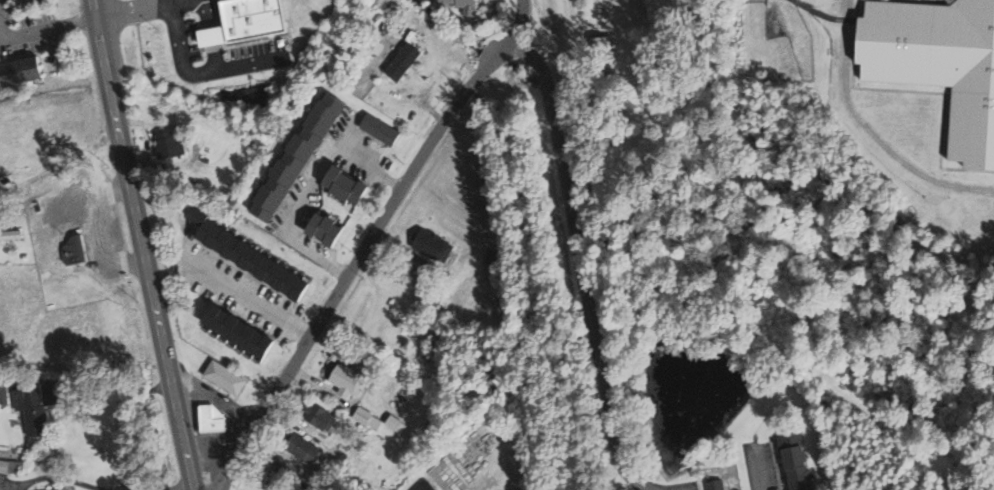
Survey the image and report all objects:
road: (158, 2)
building: (465, 6)
road: (123, 10)
road: (208, 13)
building: (256, 18)
road: (35, 33)
road: (213, 35)
building: (602, 48)
road: (217, 56)
building: (405, 61)
building: (940, 62)
road: (199, 71)
building: (22, 72)
building: (382, 130)
building: (172, 145)
road: (96, 156)
building: (300, 157)
road: (356, 157)
road: (48, 172)
building: (348, 186)
road: (291, 222)
road: (110, 226)
building: (328, 230)
building: (11, 235)
road: (140, 245)
building: (432, 245)
road: (366, 246)
building: (75, 250)
building: (253, 257)
building: (495, 258)
road: (579, 268)
road: (252, 303)
building: (241, 332)
building: (227, 378)
building: (345, 379)
road: (112, 394)
building: (35, 409)
building: (321, 417)
building: (214, 418)
building: (369, 418)
building: (398, 424)
building: (305, 449)
building: (799, 462)
road: (65, 480)
road: (178, 481)
building: (717, 484)
building: (432, 486)

